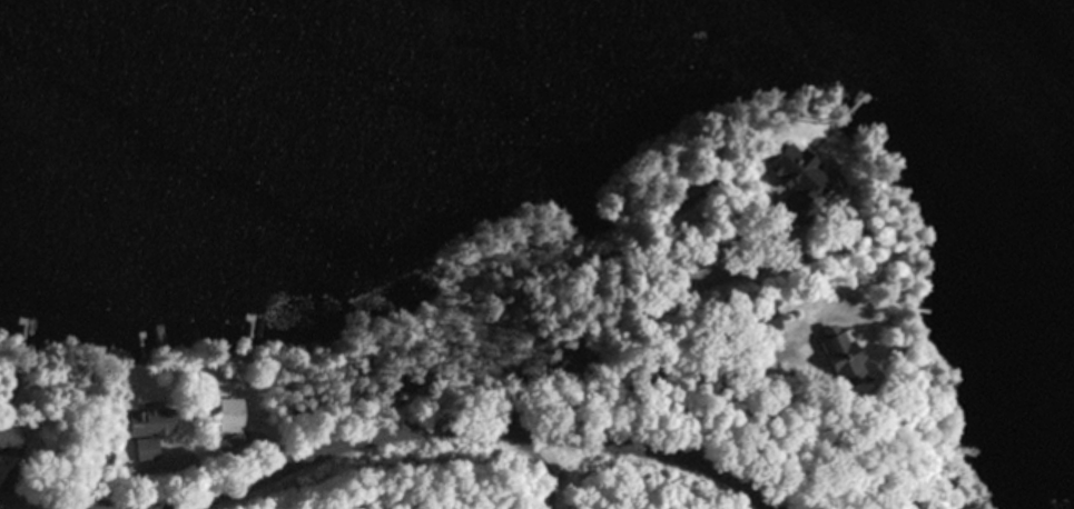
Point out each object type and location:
building: (844, 350)
building: (234, 412)
building: (158, 421)
road: (483, 428)
building: (14, 439)
road: (61, 506)

